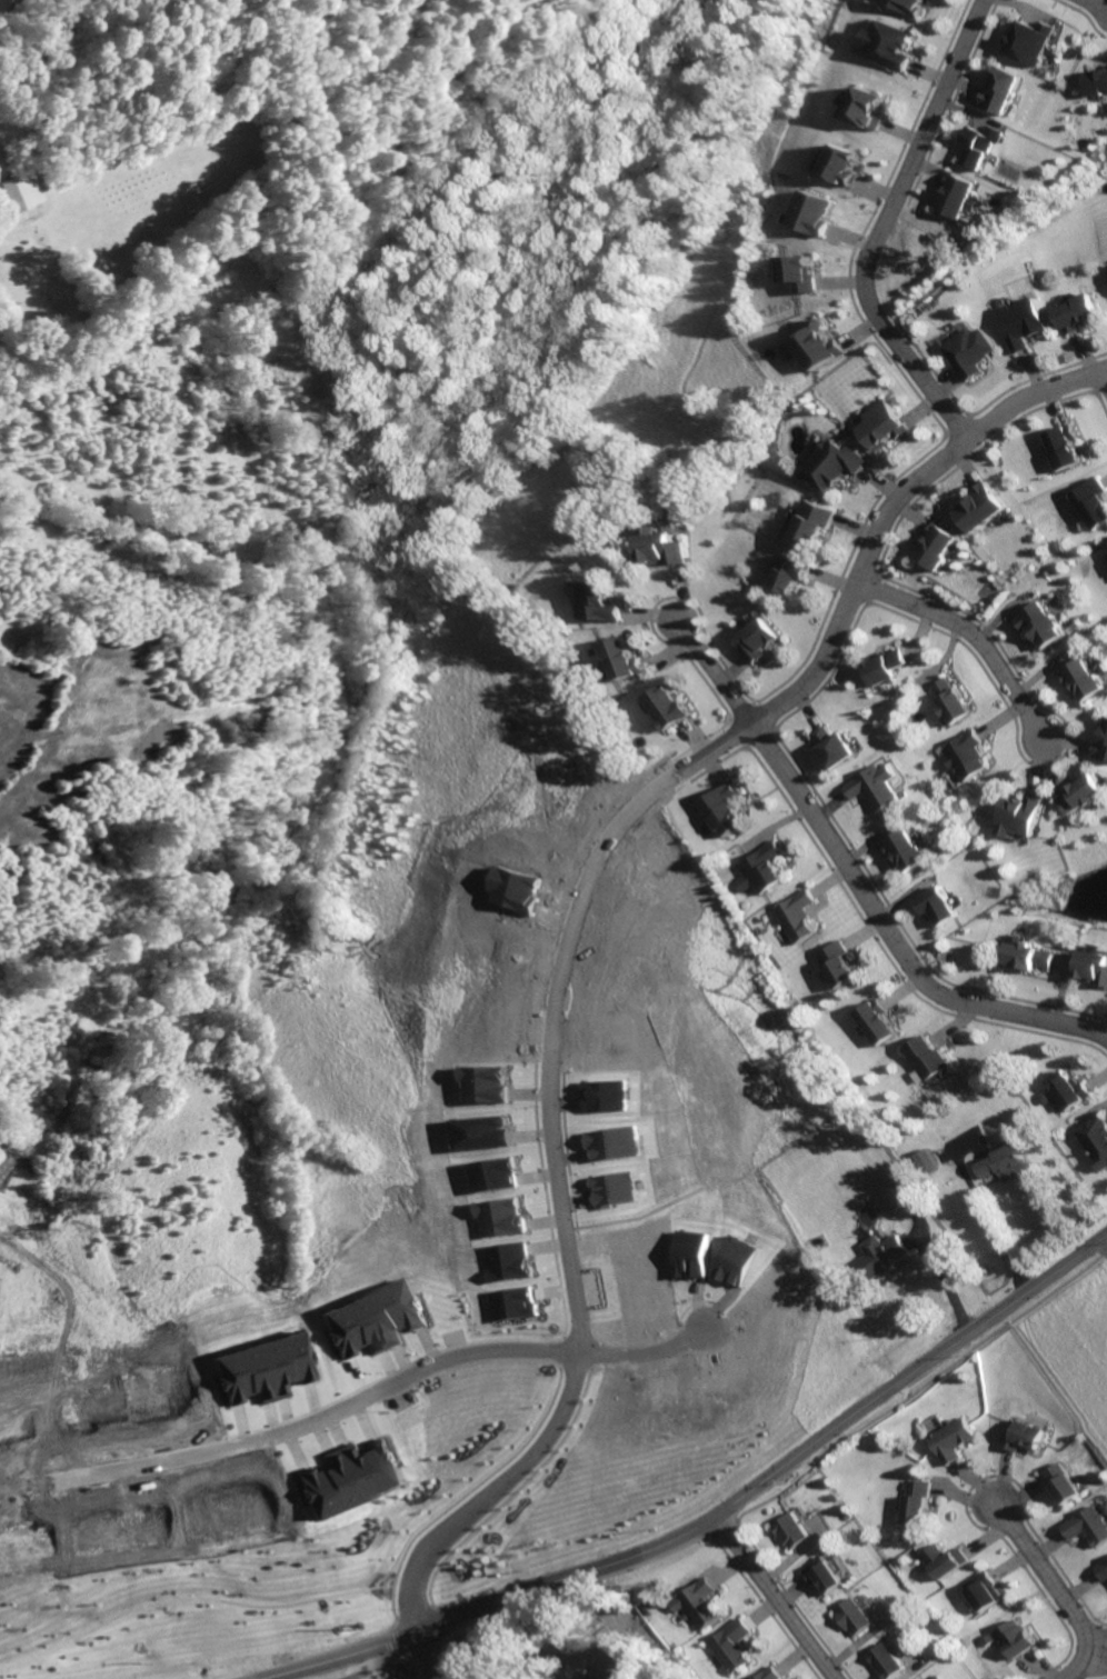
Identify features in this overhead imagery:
road: (1097, 3)
building: (905, 4)
building: (1030, 41)
building: (885, 42)
building: (1100, 82)
building: (1003, 89)
building: (862, 108)
building: (981, 146)
building: (840, 163)
building: (1, 164)
building: (19, 190)
building: (957, 194)
building: (815, 212)
road: (877, 226)
building: (805, 273)
building: (1085, 312)
building: (1030, 322)
building: (819, 344)
building: (973, 351)
road: (1106, 371)
building: (884, 423)
building: (1066, 446)
building: (831, 466)
road: (926, 473)
building: (1091, 502)
building: (981, 507)
building: (811, 523)
building: (934, 544)
building: (1106, 544)
building: (667, 547)
building: (791, 572)
building: (600, 602)
building: (1038, 623)
road: (971, 636)
building: (757, 640)
building: (622, 658)
building: (884, 666)
building: (1084, 678)
building: (949, 700)
building: (668, 708)
road: (756, 720)
building: (832, 746)
building: (1104, 749)
building: (965, 754)
building: (874, 787)
building: (1087, 793)
building: (722, 808)
building: (1023, 814)
building: (905, 849)
building: (759, 869)
road: (854, 882)
building: (938, 903)
building: (795, 915)
building: (1031, 955)
building: (838, 963)
building: (1097, 966)
building: (877, 1021)
road: (548, 1046)
building: (927, 1058)
building: (487, 1082)
building: (1073, 1089)
building: (607, 1093)
building: (1098, 1140)
building: (617, 1142)
building: (929, 1158)
building: (1006, 1160)
building: (897, 1190)
road: (983, 1200)
road: (916, 1235)
road: (1101, 1250)
building: (878, 1255)
building: (508, 1261)
road: (566, 1288)
parking lot: (585, 1288)
road: (559, 1289)
road: (543, 1291)
road: (935, 1298)
building: (511, 1303)
road: (559, 1306)
building: (373, 1319)
flagpole: (551, 1323)
flagpole: (547, 1326)
road: (515, 1339)
road: (556, 1350)
road: (640, 1352)
building: (263, 1363)
road: (570, 1367)
road: (591, 1368)
road: (922, 1387)
building: (128, 1400)
road: (319, 1418)
building: (1020, 1436)
building: (953, 1439)
road: (780, 1471)
building: (345, 1473)
building: (1059, 1481)
road: (459, 1492)
road: (482, 1495)
road: (503, 1496)
building: (231, 1502)
building: (924, 1503)
road: (735, 1520)
building: (1085, 1526)
building: (119, 1528)
road: (722, 1528)
building: (796, 1531)
road: (711, 1537)
building: (28, 1541)
building: (949, 1562)
building: (1101, 1569)
building: (832, 1577)
road: (383, 1579)
road: (561, 1588)
building: (987, 1590)
road: (1057, 1591)
road: (188, 1598)
road: (775, 1598)
building: (696, 1602)
road: (601, 1605)
road: (410, 1611)
building: (860, 1618)
road: (442, 1619)
road: (392, 1638)
building: (1020, 1639)
building: (730, 1646)
road: (421, 1648)
road: (395, 1651)
building: (629, 1653)
road: (427, 1656)
road: (343, 1660)
building: (892, 1661)
park: (377, 1665)
road: (428, 1667)
road: (411, 1672)
road: (359, 1673)
building: (767, 1673)
building: (944, 1677)

